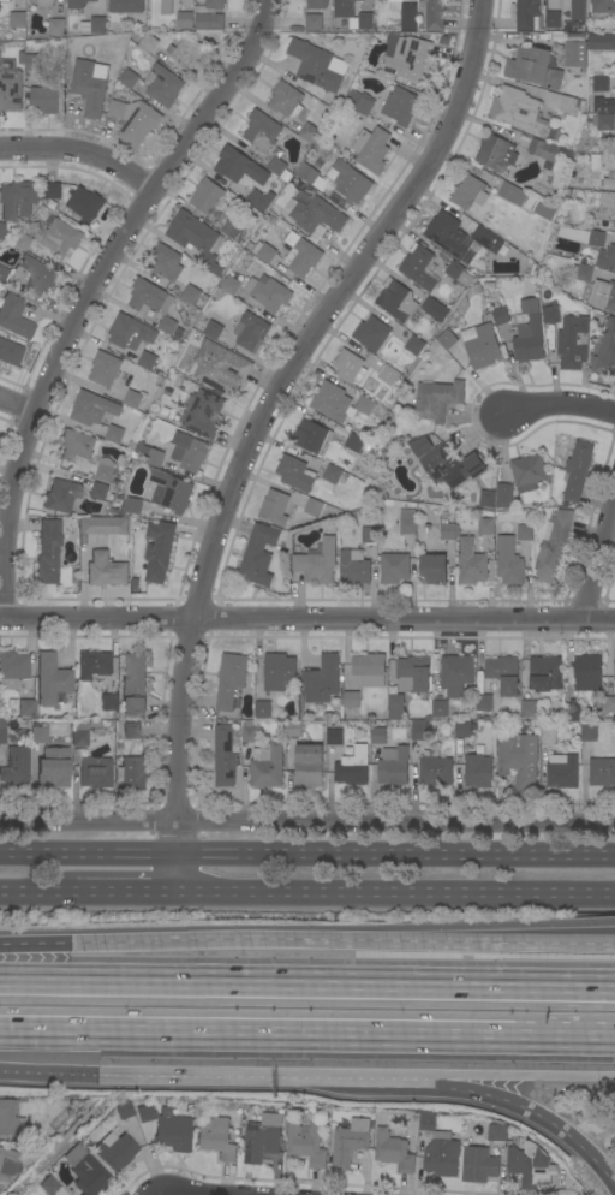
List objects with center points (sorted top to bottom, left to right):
building: (5, 0)
building: (46, 2)
building: (77, 4)
building: (317, 4)
building: (126, 6)
building: (603, 6)
building: (167, 7)
building: (345, 8)
building: (575, 8)
building: (405, 14)
building: (434, 14)
building: (527, 14)
building: (209, 17)
building: (603, 17)
building: (17, 19)
building: (185, 20)
building: (553, 20)
building: (314, 23)
building: (362, 23)
building: (94, 25)
building: (56, 28)
building: (581, 29)
building: (575, 37)
building: (601, 42)
building: (148, 43)
building: (187, 53)
building: (614, 53)
building: (575, 54)
building: (408, 60)
building: (32, 63)
building: (317, 66)
building: (533, 69)
building: (129, 78)
building: (601, 84)
building: (90, 85)
building: (10, 87)
building: (163, 87)
building: (46, 100)
building: (286, 100)
building: (360, 102)
building: (561, 102)
building: (611, 106)
building: (401, 107)
building: (519, 112)
building: (135, 120)
building: (601, 123)
building: (262, 131)
building: (309, 133)
building: (371, 149)
road: (82, 153)
building: (496, 153)
building: (548, 153)
building: (602, 161)
building: (231, 162)
building: (276, 166)
building: (474, 170)
building: (306, 173)
building: (491, 180)
building: (348, 182)
building: (609, 184)
building: (321, 185)
building: (52, 191)
building: (470, 192)
building: (510, 192)
building: (207, 196)
building: (18, 200)
building: (255, 200)
building: (338, 200)
building: (604, 200)
building: (85, 203)
building: (52, 206)
building: (544, 212)
building: (316, 215)
building: (234, 230)
building: (1, 231)
building: (317, 234)
building: (447, 234)
building: (581, 236)
building: (61, 237)
building: (196, 239)
building: (486, 239)
building: (22, 244)
building: (264, 252)
building: (300, 255)
building: (470, 257)
building: (607, 258)
building: (166, 262)
building: (418, 268)
building: (584, 273)
building: (2, 274)
building: (458, 274)
building: (37, 275)
building: (229, 285)
building: (490, 286)
building: (478, 289)
road: (88, 291)
building: (191, 295)
building: (268, 295)
building: (603, 296)
building: (149, 297)
building: (205, 298)
building: (395, 301)
building: (435, 310)
building: (550, 315)
building: (13, 316)
building: (497, 316)
building: (168, 326)
building: (213, 331)
building: (251, 332)
building: (130, 333)
building: (371, 334)
building: (529, 334)
building: (553, 338)
building: (447, 340)
building: (573, 343)
building: (414, 345)
building: (480, 346)
building: (605, 349)
building: (10, 352)
building: (148, 361)
building: (350, 367)
building: (221, 368)
building: (105, 369)
building: (388, 374)
building: (133, 399)
building: (437, 399)
building: (333, 403)
building: (365, 405)
road: (16, 406)
road: (562, 406)
building: (92, 409)
building: (202, 414)
road: (261, 424)
building: (114, 435)
building: (312, 436)
building: (354, 442)
building: (76, 445)
building: (420, 446)
building: (189, 452)
building: (149, 454)
building: (450, 466)
building: (105, 470)
building: (578, 470)
building: (527, 472)
building: (295, 474)
building: (334, 475)
building: (98, 492)
building: (171, 492)
building: (61, 495)
building: (504, 495)
building: (488, 499)
building: (133, 506)
building: (275, 507)
building: (314, 507)
building: (407, 522)
building: (103, 525)
building: (486, 527)
building: (448, 531)
building: (525, 533)
building: (369, 535)
building: (554, 542)
building: (48, 552)
building: (160, 553)
building: (258, 554)
building: (471, 563)
building: (509, 563)
building: (317, 564)
road: (601, 565)
building: (354, 567)
building: (394, 567)
building: (106, 569)
building: (434, 569)
building: (139, 570)
road: (306, 620)
building: (94, 665)
building: (12, 668)
building: (370, 670)
building: (614, 671)
building: (279, 672)
building: (587, 672)
building: (545, 673)
building: (413, 674)
building: (456, 674)
building: (503, 674)
building: (231, 679)
building: (52, 680)
building: (322, 680)
building: (132, 682)
building: (480, 683)
building: (351, 700)
building: (108, 702)
building: (484, 703)
building: (26, 707)
building: (395, 707)
building: (440, 708)
building: (609, 708)
building: (263, 709)
building: (529, 709)
building: (572, 713)
building: (531, 724)
building: (293, 729)
building: (464, 729)
building: (132, 730)
building: (419, 730)
building: (38, 732)
building: (250, 732)
building: (1, 733)
building: (589, 733)
building: (79, 735)
building: (378, 736)
building: (548, 736)
building: (334, 737)
building: (225, 756)
building: (518, 756)
building: (17, 766)
building: (309, 766)
building: (394, 766)
building: (53, 767)
building: (353, 767)
building: (268, 768)
building: (478, 769)
building: (95, 772)
building: (435, 772)
building: (562, 772)
building: (602, 772)
building: (130, 773)
road: (307, 825)
road: (307, 856)
road: (38, 894)
road: (126, 896)
road: (395, 896)
road: (340, 940)
road: (34, 950)
road: (287, 986)
road: (595, 989)
road: (257, 1030)
road: (565, 1035)
road: (49, 1064)
road: (228, 1071)
road: (401, 1072)
road: (530, 1074)
road: (485, 1090)
building: (124, 1110)
building: (10, 1118)
building: (428, 1123)
building: (168, 1129)
building: (497, 1132)
building: (215, 1137)
building: (262, 1138)
building: (350, 1142)
road: (574, 1142)
building: (306, 1143)
road: (64, 1148)
building: (115, 1151)
building: (394, 1152)
building: (441, 1155)
building: (7, 1164)
building: (478, 1165)
building: (531, 1166)
building: (85, 1171)
building: (48, 1184)
road: (183, 1193)

